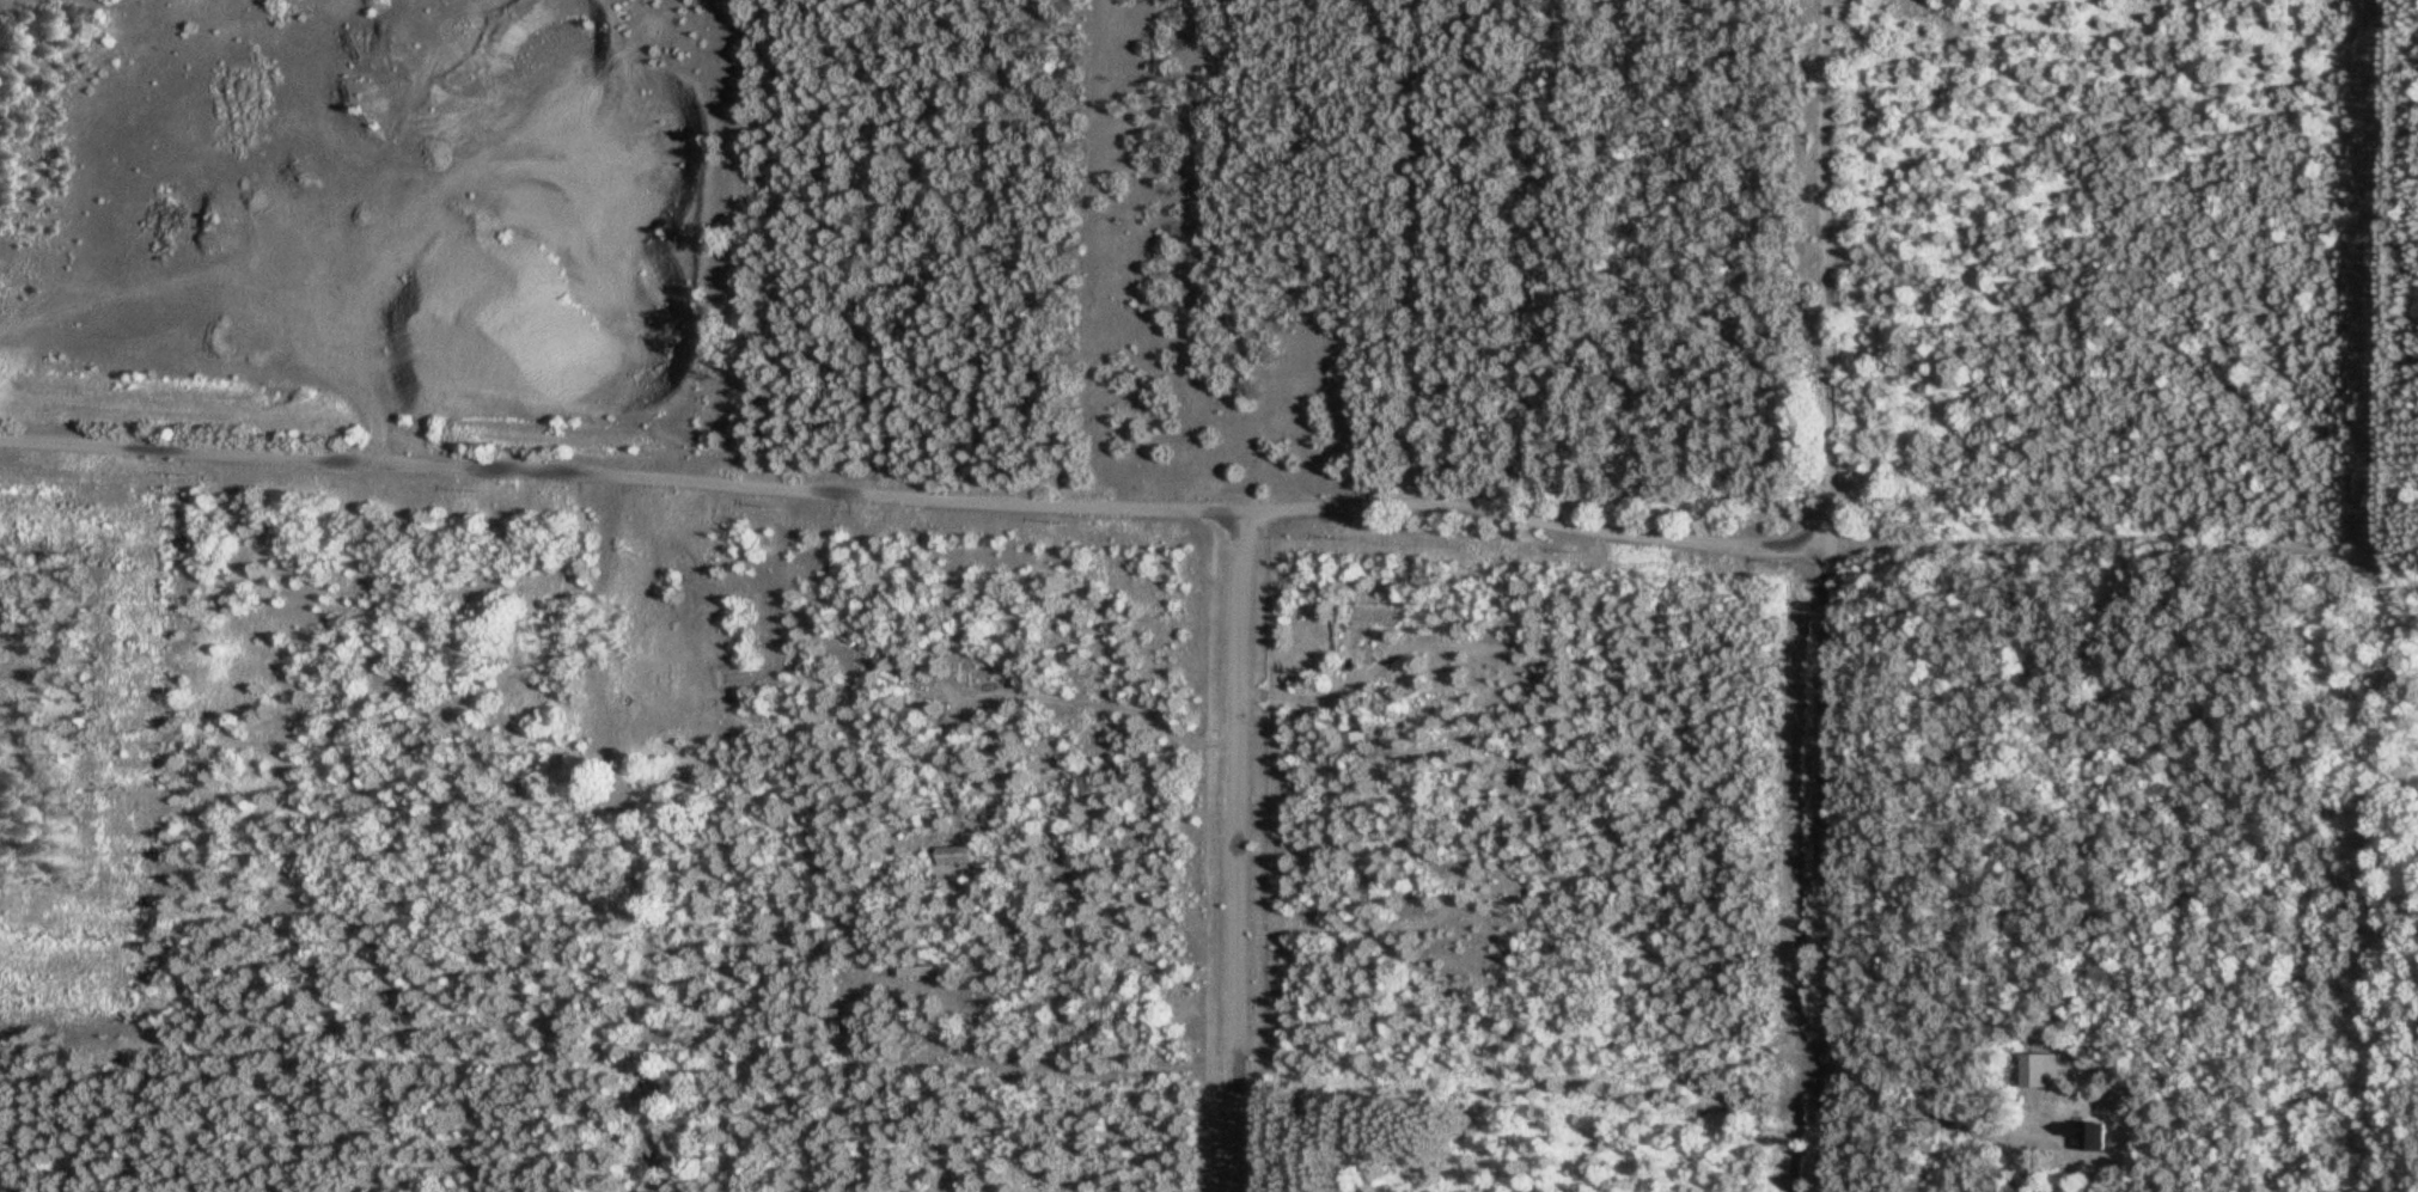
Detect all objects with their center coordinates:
quarry: (389, 212)
road: (221, 343)
road: (911, 495)
road: (2123, 536)
road: (1822, 595)
building: (761, 626)
building: (1313, 646)
road: (1007, 693)
road: (1234, 850)
road: (1915, 1117)
building: (2082, 1132)

